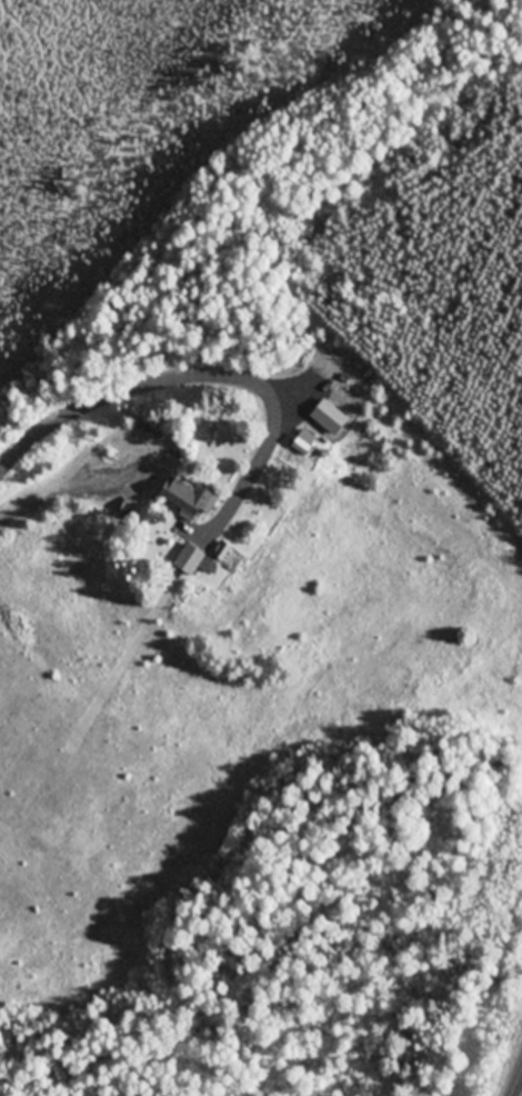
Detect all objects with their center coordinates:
road: (117, 388)
building: (192, 498)
building: (194, 561)

